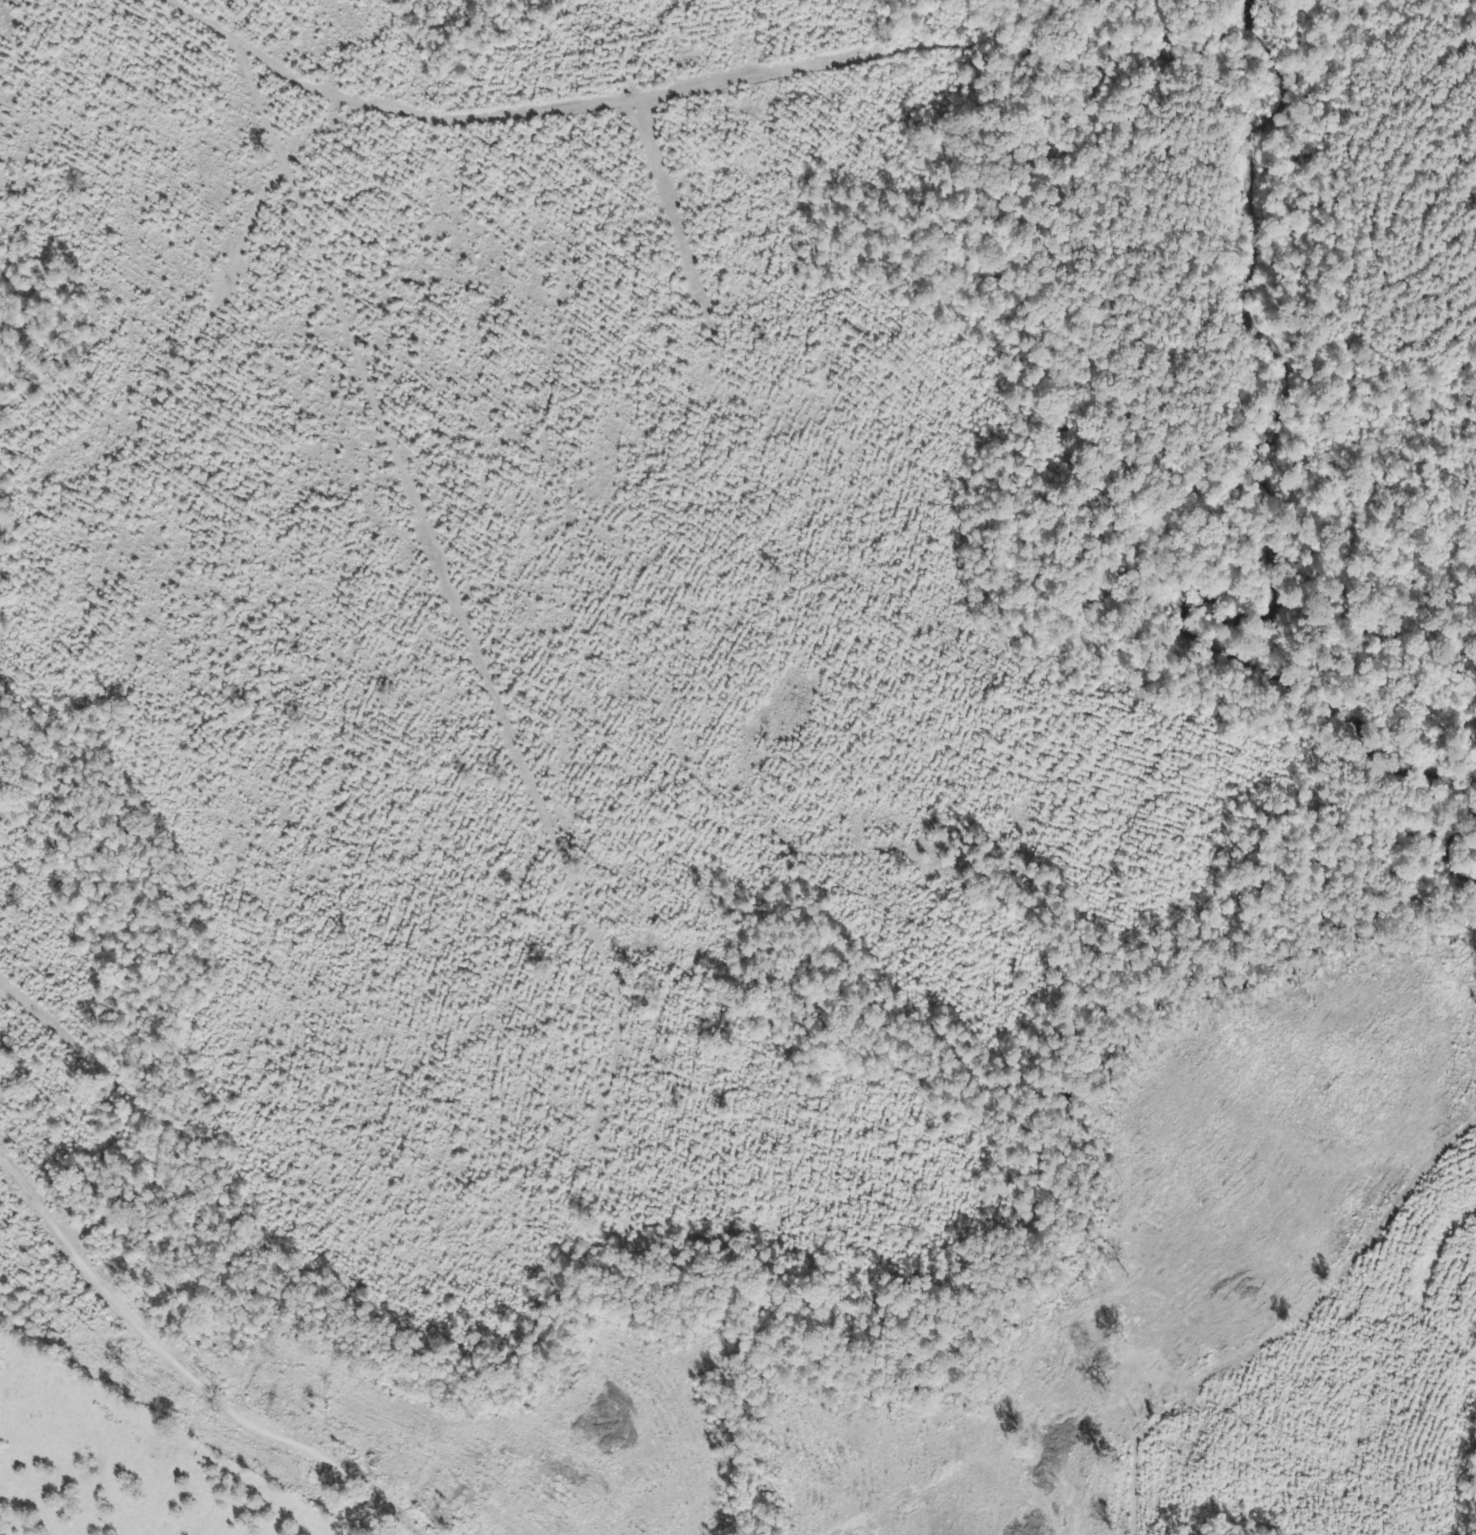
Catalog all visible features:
road: (705, 787)
road: (1319, 1154)
road: (206, 1363)

